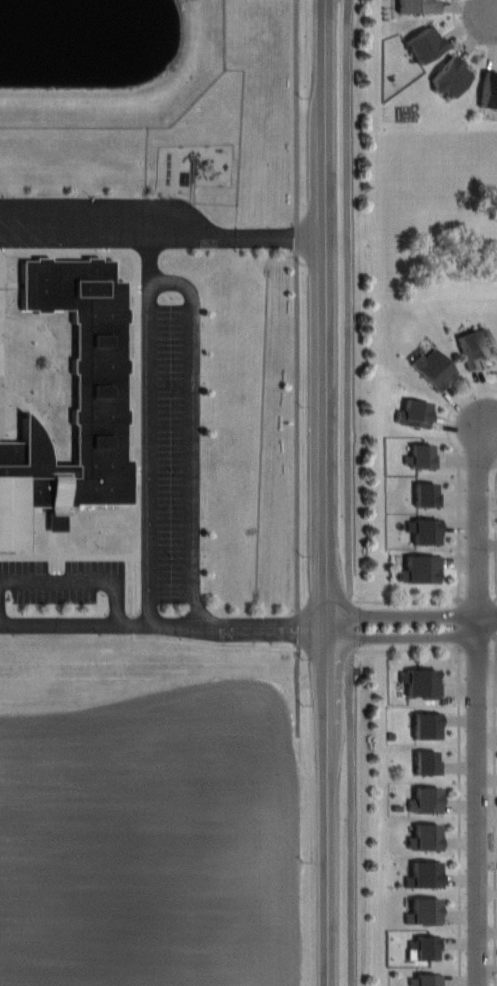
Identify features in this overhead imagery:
building: (419, 6)
road: (462, 36)
building: (425, 43)
building: (449, 77)
building: (489, 90)
park: (439, 221)
parking lot: (107, 222)
road: (165, 233)
building: (473, 348)
road: (302, 365)
building: (435, 368)
building: (76, 403)
building: (415, 413)
road: (190, 433)
parking lot: (175, 444)
road: (148, 454)
building: (423, 456)
road: (340, 493)
road: (352, 493)
building: (428, 495)
road: (476, 522)
road: (459, 527)
building: (426, 529)
road: (495, 532)
building: (421, 568)
road: (75, 579)
parking lot: (64, 589)
road: (408, 617)
road: (486, 621)
road: (170, 623)
road: (411, 639)
building: (425, 685)
building: (428, 727)
road: (464, 762)
building: (430, 765)
building: (427, 802)
road: (478, 804)
building: (428, 837)
building: (426, 874)
building: (425, 911)
building: (429, 947)
building: (429, 980)

